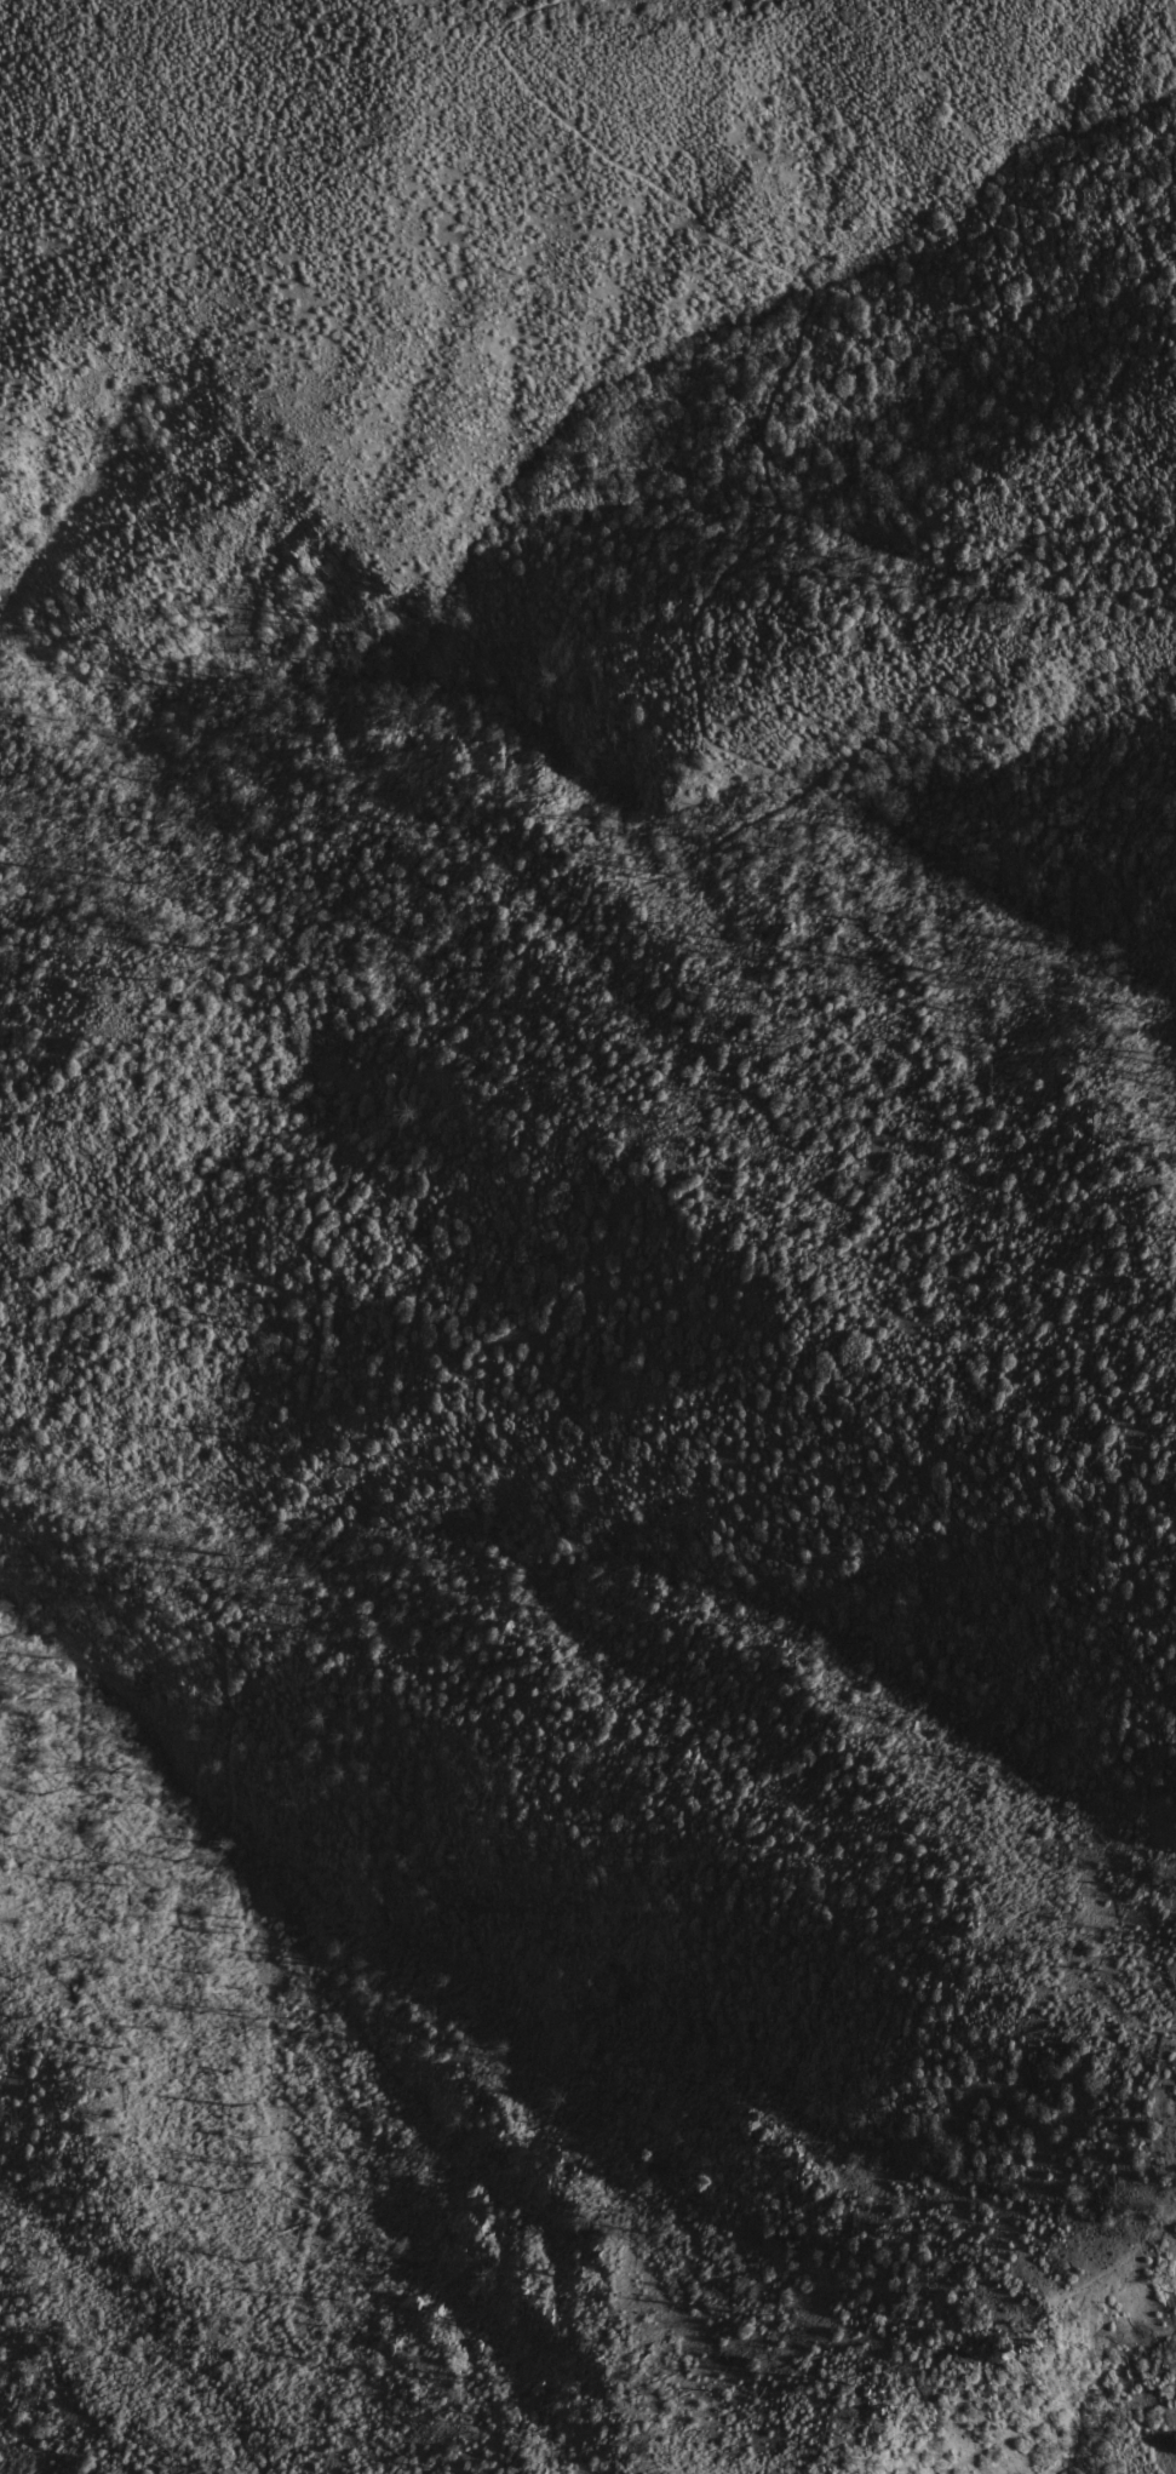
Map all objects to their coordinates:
road: (579, 922)

